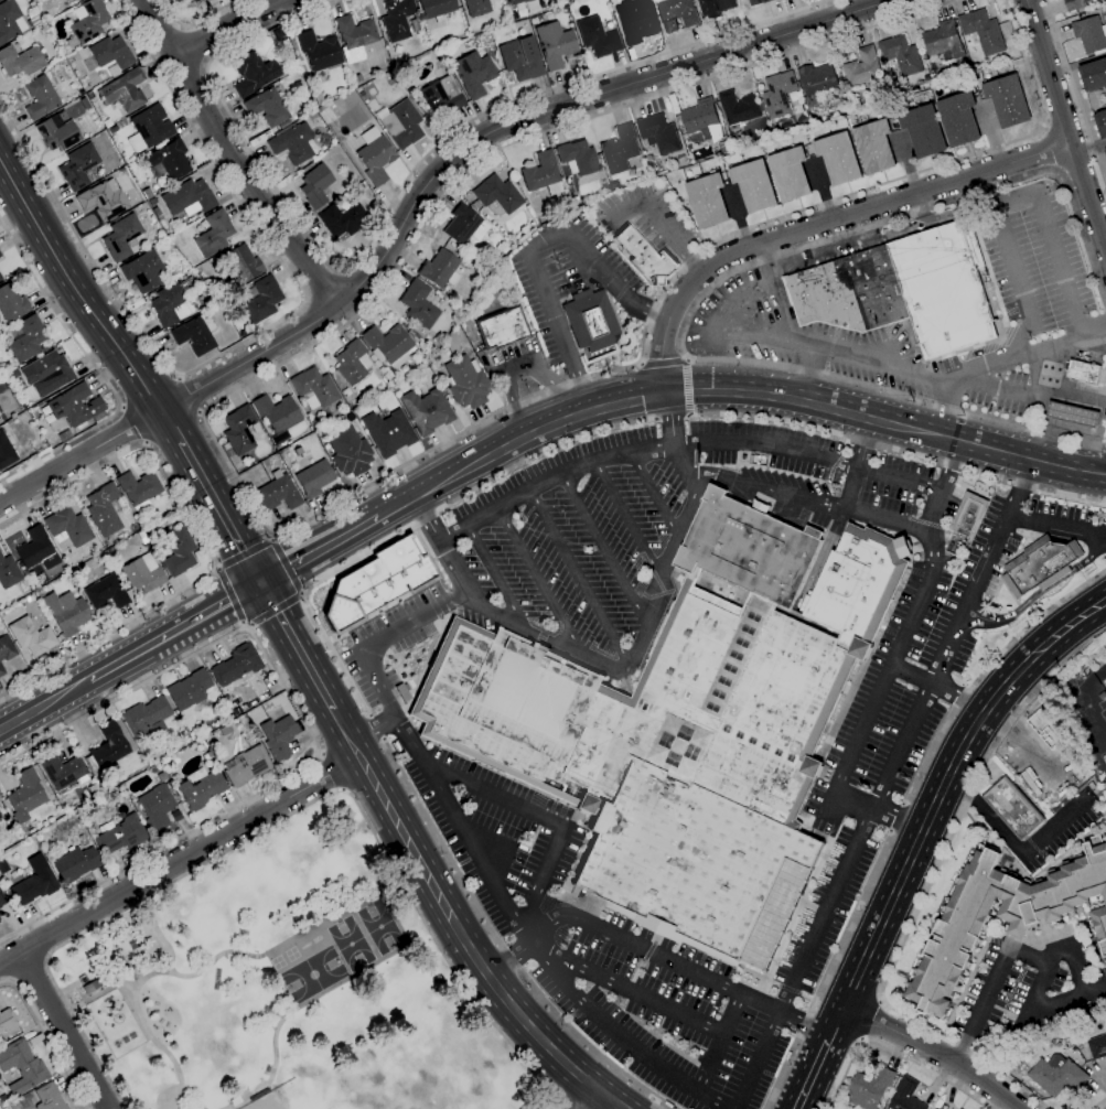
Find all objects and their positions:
building: (75, 0)
building: (176, 0)
building: (197, 0)
building: (198, 0)
building: (516, 1)
building: (756, 2)
building: (1075, 4)
building: (477, 7)
building: (715, 8)
building: (437, 9)
building: (676, 14)
building: (397, 18)
building: (1104, 18)
building: (34, 20)
road: (196, 20)
building: (10, 21)
building: (87, 22)
building: (635, 24)
road: (226, 26)
building: (982, 31)
building: (278, 33)
building: (1091, 35)
building: (355, 36)
building: (597, 36)
building: (942, 43)
building: (555, 44)
road: (194, 46)
building: (319, 50)
building: (108, 54)
building: (900, 55)
building: (520, 57)
building: (20, 62)
building: (862, 67)
building: (253, 73)
building: (474, 73)
building: (1093, 75)
building: (356, 79)
building: (815, 83)
building: (124, 90)
building: (777, 94)
road: (1075, 95)
building: (442, 96)
building: (40, 97)
building: (318, 97)
building: (1007, 101)
building: (85, 103)
building: (267, 107)
building: (738, 108)
building: (701, 119)
building: (959, 120)
building: (106, 122)
building: (400, 123)
building: (1100, 123)
building: (152, 126)
road: (1065, 126)
building: (112, 130)
building: (923, 131)
building: (57, 132)
building: (658, 133)
building: (292, 143)
building: (723, 148)
building: (874, 148)
building: (732, 149)
building: (620, 150)
road: (1051, 150)
building: (1105, 150)
building: (375, 155)
building: (578, 157)
building: (838, 158)
road: (230, 159)
building: (169, 160)
building: (78, 166)
building: (657, 166)
road: (906, 166)
building: (543, 173)
building: (790, 174)
building: (315, 185)
building: (754, 186)
building: (147, 193)
building: (497, 194)
road: (397, 195)
building: (189, 197)
road: (416, 198)
building: (103, 200)
building: (151, 201)
building: (707, 201)
building: (373, 204)
road: (1008, 205)
building: (158, 214)
building: (343, 219)
road: (662, 222)
road: (823, 223)
building: (464, 225)
building: (214, 234)
building: (121, 237)
building: (155, 238)
road: (535, 249)
building: (0, 255)
building: (0, 256)
building: (646, 257)
building: (241, 263)
parking lot: (1034, 263)
building: (440, 269)
building: (143, 271)
parking lot: (566, 277)
building: (0, 278)
building: (187, 283)
road: (712, 286)
road: (74, 289)
building: (903, 290)
building: (261, 299)
building: (465, 301)
building: (11, 303)
building: (170, 304)
building: (418, 304)
building: (216, 306)
building: (590, 320)
building: (502, 329)
building: (240, 331)
building: (194, 334)
road: (255, 334)
building: (412, 334)
building: (25, 338)
building: (388, 346)
parking lot: (519, 356)
building: (352, 363)
road: (520, 365)
road: (99, 370)
building: (1082, 370)
building: (46, 373)
road: (814, 373)
building: (415, 376)
road: (930, 377)
building: (465, 383)
road: (686, 387)
building: (314, 388)
building: (394, 390)
building: (346, 391)
road: (191, 394)
road: (644, 395)
road: (1011, 395)
building: (75, 406)
road: (942, 408)
building: (426, 410)
building: (1072, 414)
gas station: (1072, 414)
building: (278, 416)
road: (132, 426)
road: (170, 427)
road: (618, 427)
building: (239, 429)
building: (388, 432)
building: (64, 435)
road: (672, 442)
road: (683, 444)
building: (6, 452)
building: (348, 452)
road: (1019, 455)
road: (853, 462)
road: (1096, 469)
building: (313, 478)
building: (139, 487)
building: (278, 492)
road: (652, 495)
road: (1014, 503)
building: (104, 509)
road: (221, 512)
building: (968, 514)
parking lot: (648, 516)
road: (624, 520)
building: (67, 527)
road: (1059, 528)
road: (276, 535)
road: (440, 542)
road: (204, 543)
road: (601, 545)
road: (319, 547)
building: (36, 549)
road: (670, 550)
building: (179, 551)
road: (247, 553)
building: (1040, 564)
road: (287, 566)
building: (143, 569)
building: (8, 572)
road: (495, 578)
road: (978, 578)
road: (538, 580)
road: (578, 580)
traffic signals: (262, 581)
building: (377, 581)
building: (106, 592)
road: (1037, 594)
road: (230, 596)
road: (276, 610)
building: (66, 612)
road: (205, 612)
building: (31, 636)
road: (298, 646)
building: (7, 647)
road: (891, 663)
building: (236, 665)
building: (1, 670)
road: (938, 686)
road: (74, 688)
building: (189, 689)
road: (1086, 702)
building: (147, 717)
road: (310, 724)
road: (376, 726)
building: (685, 726)
road: (373, 728)
building: (1046, 729)
road: (347, 734)
building: (279, 736)
road: (1020, 741)
road: (410, 743)
building: (107, 746)
building: (247, 765)
building: (63, 771)
road: (332, 772)
parking lot: (1049, 775)
road: (946, 782)
building: (104, 786)
building: (201, 789)
building: (25, 795)
building: (155, 807)
building: (1012, 808)
road: (902, 814)
road: (289, 815)
road: (543, 816)
road: (248, 822)
parking lot: (501, 833)
parking lot: (1060, 833)
building: (121, 835)
road: (1013, 847)
road: (849, 860)
building: (76, 863)
building: (34, 881)
road: (925, 890)
building: (2, 900)
building: (0, 906)
building: (998, 916)
road: (67, 925)
park: (380, 926)
building: (1099, 927)
park: (352, 943)
road: (503, 945)
road: (1007, 950)
road: (470, 951)
road: (652, 954)
road: (216, 960)
road: (30, 973)
park: (314, 975)
park: (299, 987)
road: (626, 987)
parking lot: (1031, 987)
building: (93, 988)
road: (136, 995)
road: (1040, 1008)
road: (870, 1018)
building: (8, 1020)
road: (64, 1031)
road: (619, 1036)
road: (49, 1040)
road: (720, 1044)
building: (1097, 1046)
road: (933, 1049)
road: (890, 1053)
road: (819, 1057)
building: (22, 1066)
road: (272, 1067)
building: (1056, 1075)
building: (869, 1088)
building: (905, 1096)
building: (49, 1097)
road: (587, 1099)
park: (267, 1101)
road: (1098, 1103)
building: (13, 1105)
road: (566, 1108)
building: (934, 1108)

